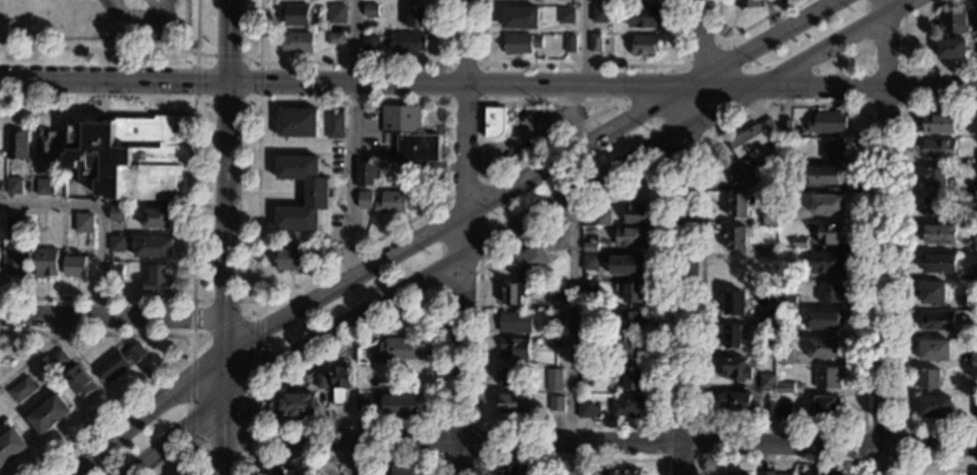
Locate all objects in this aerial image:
building: (753, 4)
park: (119, 10)
building: (370, 10)
building: (337, 14)
building: (599, 14)
building: (565, 15)
building: (296, 16)
building: (645, 16)
building: (416, 17)
building: (520, 18)
building: (956, 22)
road: (736, 32)
building: (335, 38)
road: (876, 40)
road: (584, 41)
building: (297, 42)
road: (699, 42)
building: (407, 43)
building: (595, 43)
building: (371, 44)
building: (520, 44)
building: (569, 45)
building: (644, 46)
road: (123, 49)
building: (950, 49)
road: (205, 54)
road: (227, 54)
road: (250, 55)
road: (902, 57)
road: (196, 58)
road: (868, 59)
road: (353, 62)
road: (583, 63)
road: (259, 65)
road: (779, 69)
traffic signals: (230, 79)
road: (195, 80)
road: (259, 81)
road: (488, 82)
road: (620, 101)
road: (227, 103)
road: (447, 103)
road: (195, 104)
road: (204, 104)
road: (901, 104)
road: (193, 112)
road: (575, 117)
building: (400, 119)
building: (297, 122)
building: (494, 122)
building: (828, 123)
building: (939, 124)
building: (976, 125)
building: (335, 126)
building: (786, 127)
building: (752, 137)
road: (353, 138)
road: (519, 144)
building: (17, 145)
road: (482, 145)
building: (46, 147)
building: (417, 148)
building: (832, 149)
building: (939, 149)
building: (389, 155)
building: (132, 157)
building: (976, 157)
building: (795, 159)
road: (445, 165)
building: (410, 167)
building: (745, 171)
building: (367, 175)
building: (825, 176)
road: (227, 177)
building: (937, 177)
road: (532, 178)
road: (481, 179)
building: (13, 186)
building: (769, 186)
building: (787, 186)
building: (44, 187)
building: (976, 187)
road: (281, 192)
road: (300, 193)
road: (562, 194)
road: (666, 198)
building: (317, 199)
building: (365, 200)
building: (396, 201)
building: (740, 205)
building: (827, 205)
road: (256, 206)
building: (933, 206)
road: (99, 210)
building: (975, 212)
building: (634, 213)
building: (117, 214)
building: (787, 214)
building: (770, 217)
building: (157, 218)
building: (602, 218)
road: (462, 221)
building: (86, 222)
building: (12, 223)
building: (940, 234)
building: (831, 235)
building: (632, 237)
road: (882, 237)
building: (736, 239)
building: (335, 240)
building: (799, 243)
building: (116, 244)
building: (975, 244)
building: (154, 247)
building: (590, 247)
building: (769, 253)
building: (536, 256)
building: (14, 259)
building: (288, 259)
building: (590, 262)
building: (46, 263)
building: (826, 263)
building: (939, 263)
building: (628, 265)
building: (76, 266)
road: (899, 268)
building: (785, 271)
building: (115, 272)
building: (975, 273)
building: (159, 280)
road: (684, 286)
building: (557, 289)
building: (589, 289)
building: (631, 292)
building: (514, 293)
building: (830, 293)
building: (933, 293)
traffic signals: (224, 296)
road: (105, 299)
road: (224, 300)
road: (246, 301)
building: (787, 301)
building: (971, 302)
building: (734, 304)
road: (111, 315)
building: (588, 315)
building: (766, 316)
road: (193, 317)
road: (396, 317)
building: (824, 319)
building: (556, 321)
building: (625, 321)
building: (937, 322)
building: (516, 323)
road: (224, 324)
building: (786, 328)
road: (572, 332)
building: (973, 332)
road: (103, 333)
traffic signals: (262, 333)
building: (734, 337)
building: (554, 342)
road: (192, 343)
building: (588, 343)
building: (402, 348)
building: (825, 348)
building: (514, 349)
building: (628, 349)
building: (767, 349)
building: (935, 351)
road: (38, 353)
building: (785, 357)
building: (973, 357)
building: (59, 359)
road: (255, 359)
building: (119, 363)
building: (41, 365)
building: (556, 370)
building: (736, 370)
road: (223, 375)
building: (589, 375)
building: (510, 376)
building: (366, 377)
building: (634, 378)
building: (828, 378)
building: (929, 379)
building: (322, 380)
building: (767, 381)
building: (80, 384)
building: (340, 384)
building: (392, 387)
building: (785, 388)
building: (22, 390)
building: (974, 390)
road: (191, 397)
building: (739, 401)
road: (862, 401)
building: (364, 402)
building: (515, 403)
building: (557, 403)
road: (122, 404)
building: (296, 404)
building: (402, 406)
building: (629, 406)
building: (826, 407)
building: (935, 407)
building: (976, 408)
building: (771, 409)
building: (588, 410)
building: (784, 411)
building: (49, 414)
road: (148, 415)
road: (221, 418)
traffic signals: (184, 423)
road: (219, 423)
road: (334, 423)
traffic signals: (222, 430)
road: (170, 433)
road: (341, 440)
road: (718, 445)
building: (11, 447)
road: (190, 454)
road: (181, 456)
road: (238, 457)
road: (346, 457)
road: (349, 457)
road: (220, 458)
road: (477, 458)
road: (460, 459)
road: (569, 459)
road: (698, 459)
road: (779, 461)
road: (897, 463)
road: (930, 463)
building: (407, 470)
building: (510, 470)
building: (286, 471)
building: (626, 472)
building: (823, 472)
building: (766, 473)
building: (973, 473)
building: (364, 474)
building: (585, 474)
building: (734, 474)
building: (783, 474)

